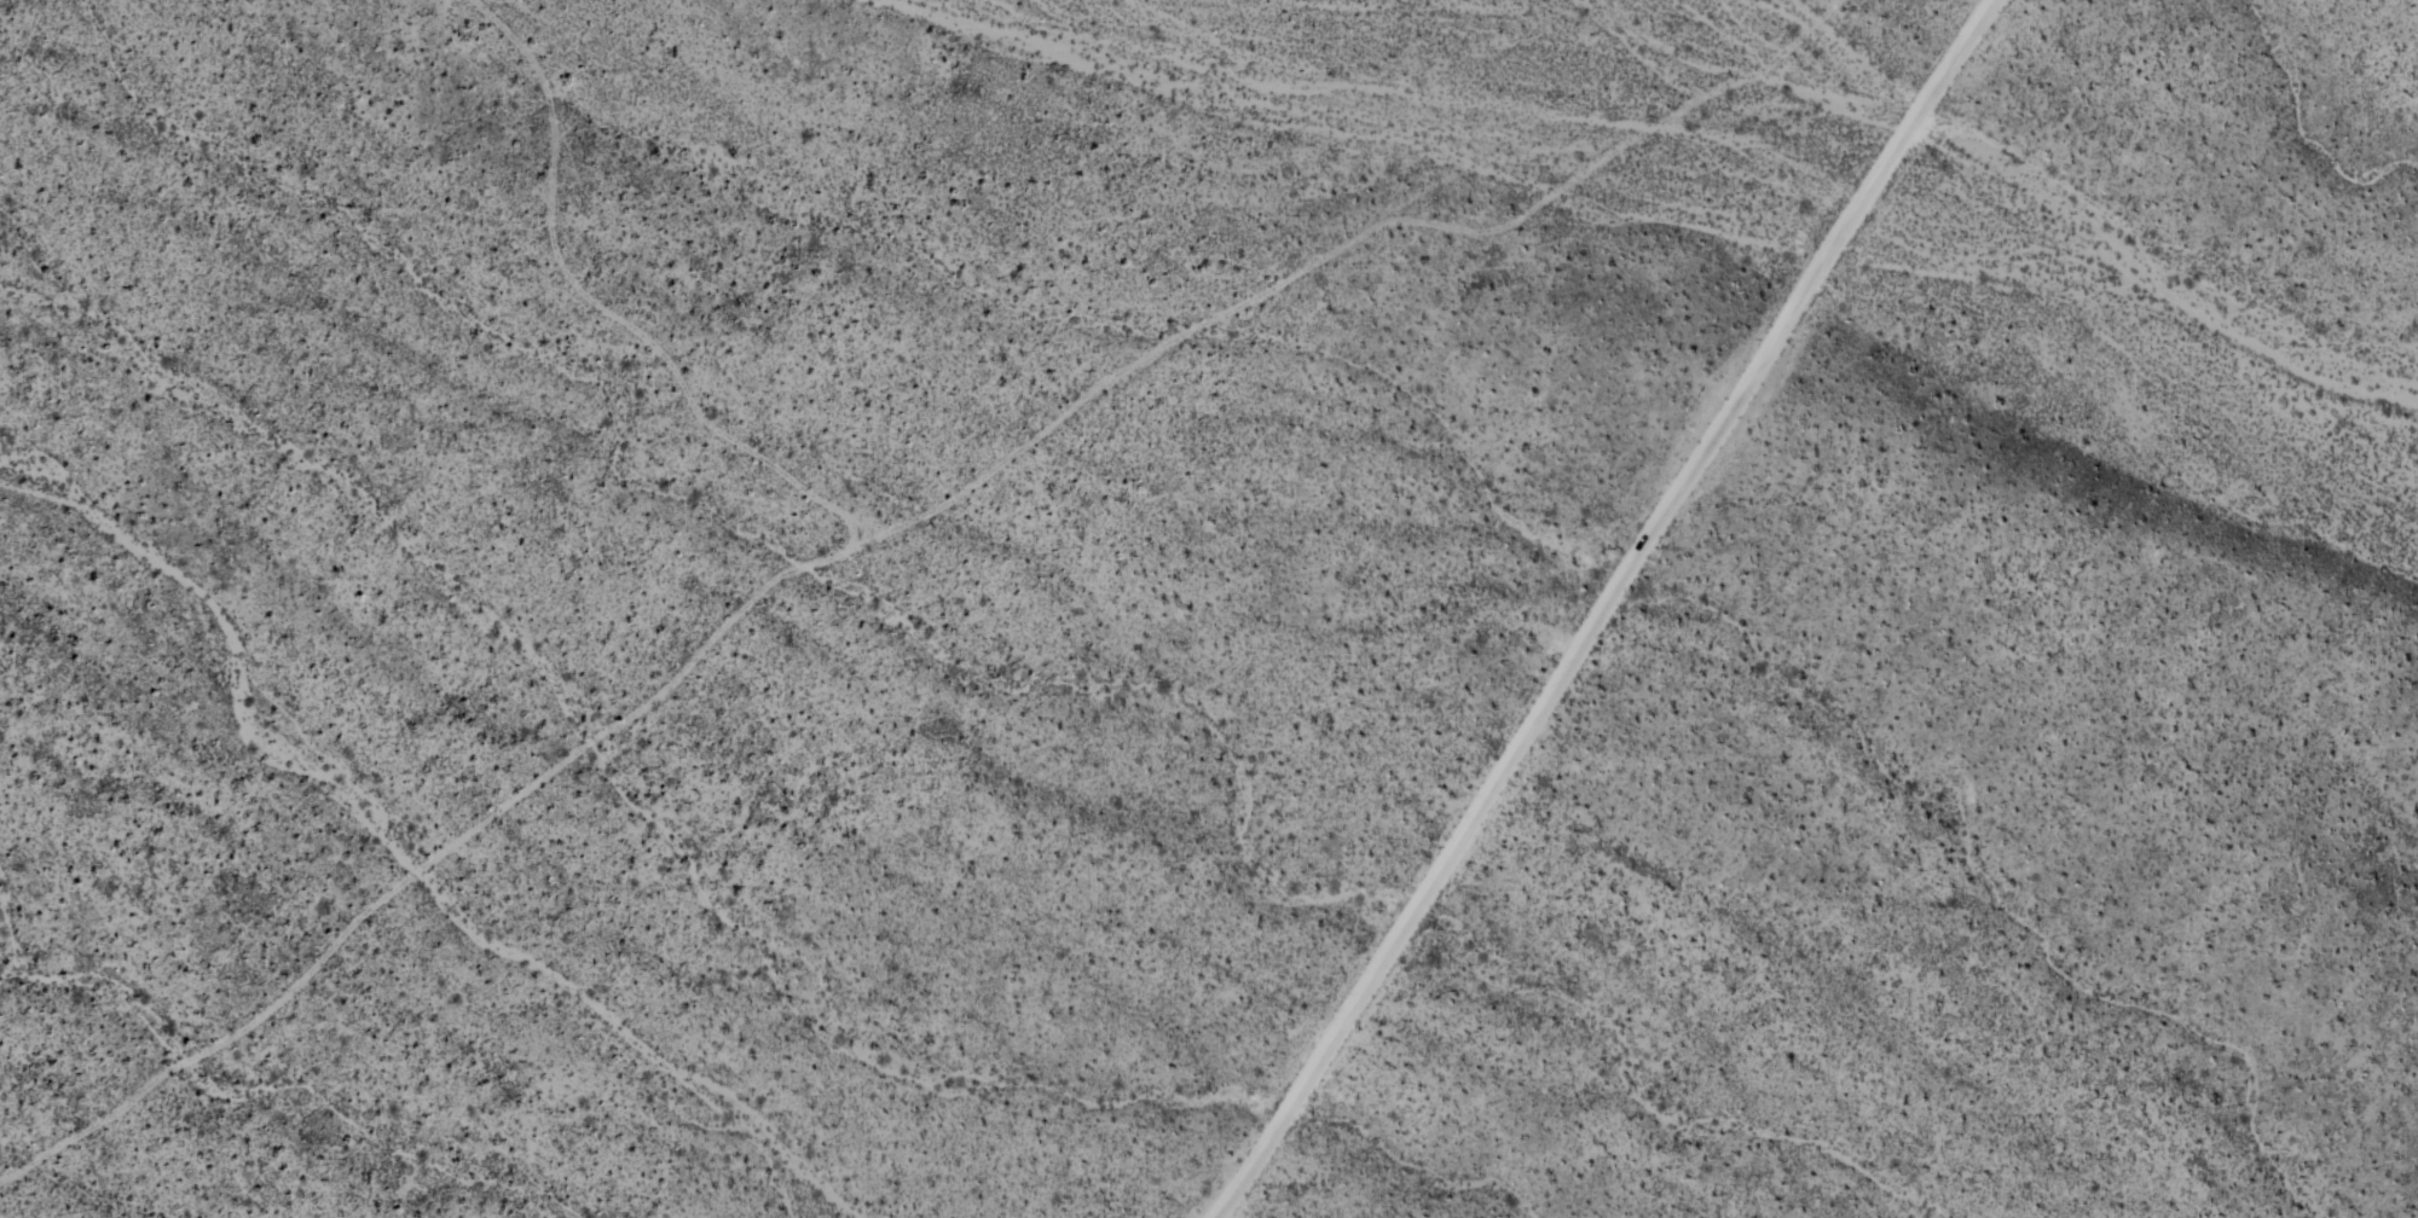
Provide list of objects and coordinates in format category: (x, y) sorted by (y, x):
road: (1602, 610)

